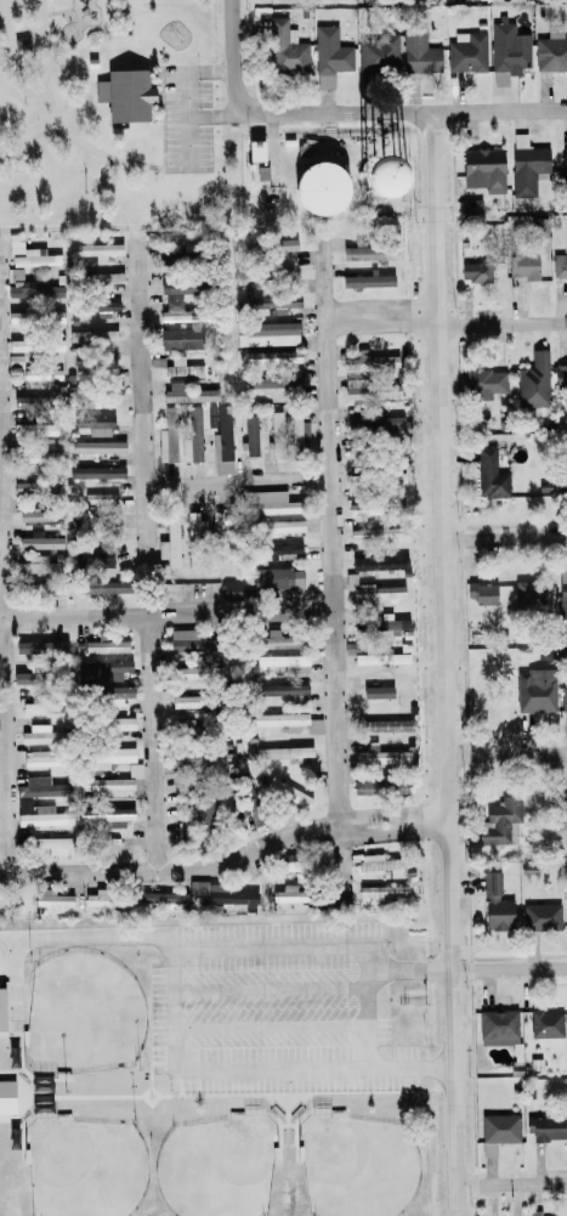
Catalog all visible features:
road: (59, 11)
building: (508, 46)
building: (285, 47)
building: (329, 50)
building: (418, 50)
building: (466, 51)
building: (551, 51)
building: (376, 53)
road: (232, 57)
road: (76, 86)
building: (124, 94)
road: (59, 95)
road: (186, 96)
road: (401, 111)
road: (210, 114)
road: (164, 117)
park: (112, 119)
parking lot: (186, 119)
building: (254, 149)
road: (98, 153)
building: (563, 160)
building: (525, 165)
road: (152, 166)
road: (160, 168)
building: (482, 168)
building: (331, 183)
building: (471, 209)
building: (538, 227)
building: (284, 244)
building: (95, 250)
building: (369, 253)
building: (24, 255)
building: (522, 265)
building: (559, 266)
building: (475, 271)
building: (104, 278)
building: (368, 279)
building: (18, 284)
building: (169, 287)
building: (272, 301)
building: (103, 305)
building: (174, 311)
building: (18, 317)
road: (504, 319)
road: (386, 324)
building: (266, 333)
building: (92, 335)
building: (180, 339)
building: (56, 344)
building: (16, 345)
building: (271, 356)
building: (12, 360)
building: (370, 362)
building: (93, 364)
building: (181, 367)
building: (41, 374)
building: (560, 375)
building: (533, 381)
building: (272, 383)
building: (483, 383)
building: (372, 391)
building: (189, 395)
building: (22, 401)
road: (140, 406)
building: (373, 423)
building: (93, 424)
building: (274, 424)
building: (35, 429)
building: (297, 430)
building: (250, 434)
building: (166, 436)
building: (192, 436)
building: (220, 439)
building: (96, 446)
building: (355, 451)
building: (95, 471)
building: (489, 474)
road: (250, 485)
building: (559, 485)
building: (34, 487)
building: (100, 499)
building: (266, 503)
building: (34, 515)
building: (194, 524)
building: (109, 525)
building: (277, 526)
building: (370, 532)
building: (219, 535)
road: (508, 536)
road: (339, 538)
road: (2, 541)
building: (169, 541)
building: (39, 542)
building: (282, 552)
building: (93, 559)
building: (378, 562)
building: (41, 564)
building: (277, 578)
building: (100, 586)
building: (55, 587)
building: (229, 588)
building: (373, 589)
building: (33, 592)
building: (481, 592)
building: (528, 593)
building: (562, 593)
road: (5, 595)
road: (170, 623)
building: (390, 623)
building: (277, 639)
building: (41, 643)
building: (104, 645)
building: (187, 645)
building: (374, 654)
building: (284, 662)
road: (447, 662)
building: (101, 669)
building: (198, 671)
building: (282, 689)
building: (534, 690)
building: (376, 691)
building: (112, 692)
building: (563, 697)
building: (186, 701)
building: (35, 705)
building: (280, 720)
building: (119, 725)
building: (314, 725)
building: (382, 725)
building: (39, 735)
building: (284, 752)
road: (506, 753)
road: (160, 756)
building: (379, 756)
building: (107, 757)
building: (40, 758)
building: (204, 758)
building: (115, 784)
building: (379, 785)
building: (38, 787)
building: (287, 796)
building: (563, 805)
building: (106, 813)
building: (203, 813)
building: (40, 814)
building: (500, 819)
building: (113, 842)
building: (51, 844)
road: (341, 865)
road: (227, 878)
building: (382, 890)
building: (288, 894)
building: (222, 897)
building: (51, 898)
building: (108, 898)
building: (160, 898)
building: (6, 900)
building: (495, 904)
building: (540, 916)
road: (237, 952)
road: (509, 967)
building: (1, 1009)
building: (545, 1023)
road: (373, 1025)
building: (498, 1026)
road: (251, 1076)
building: (6, 1097)
building: (545, 1129)
building: (498, 1131)
road: (511, 1181)
building: (535, 1214)

